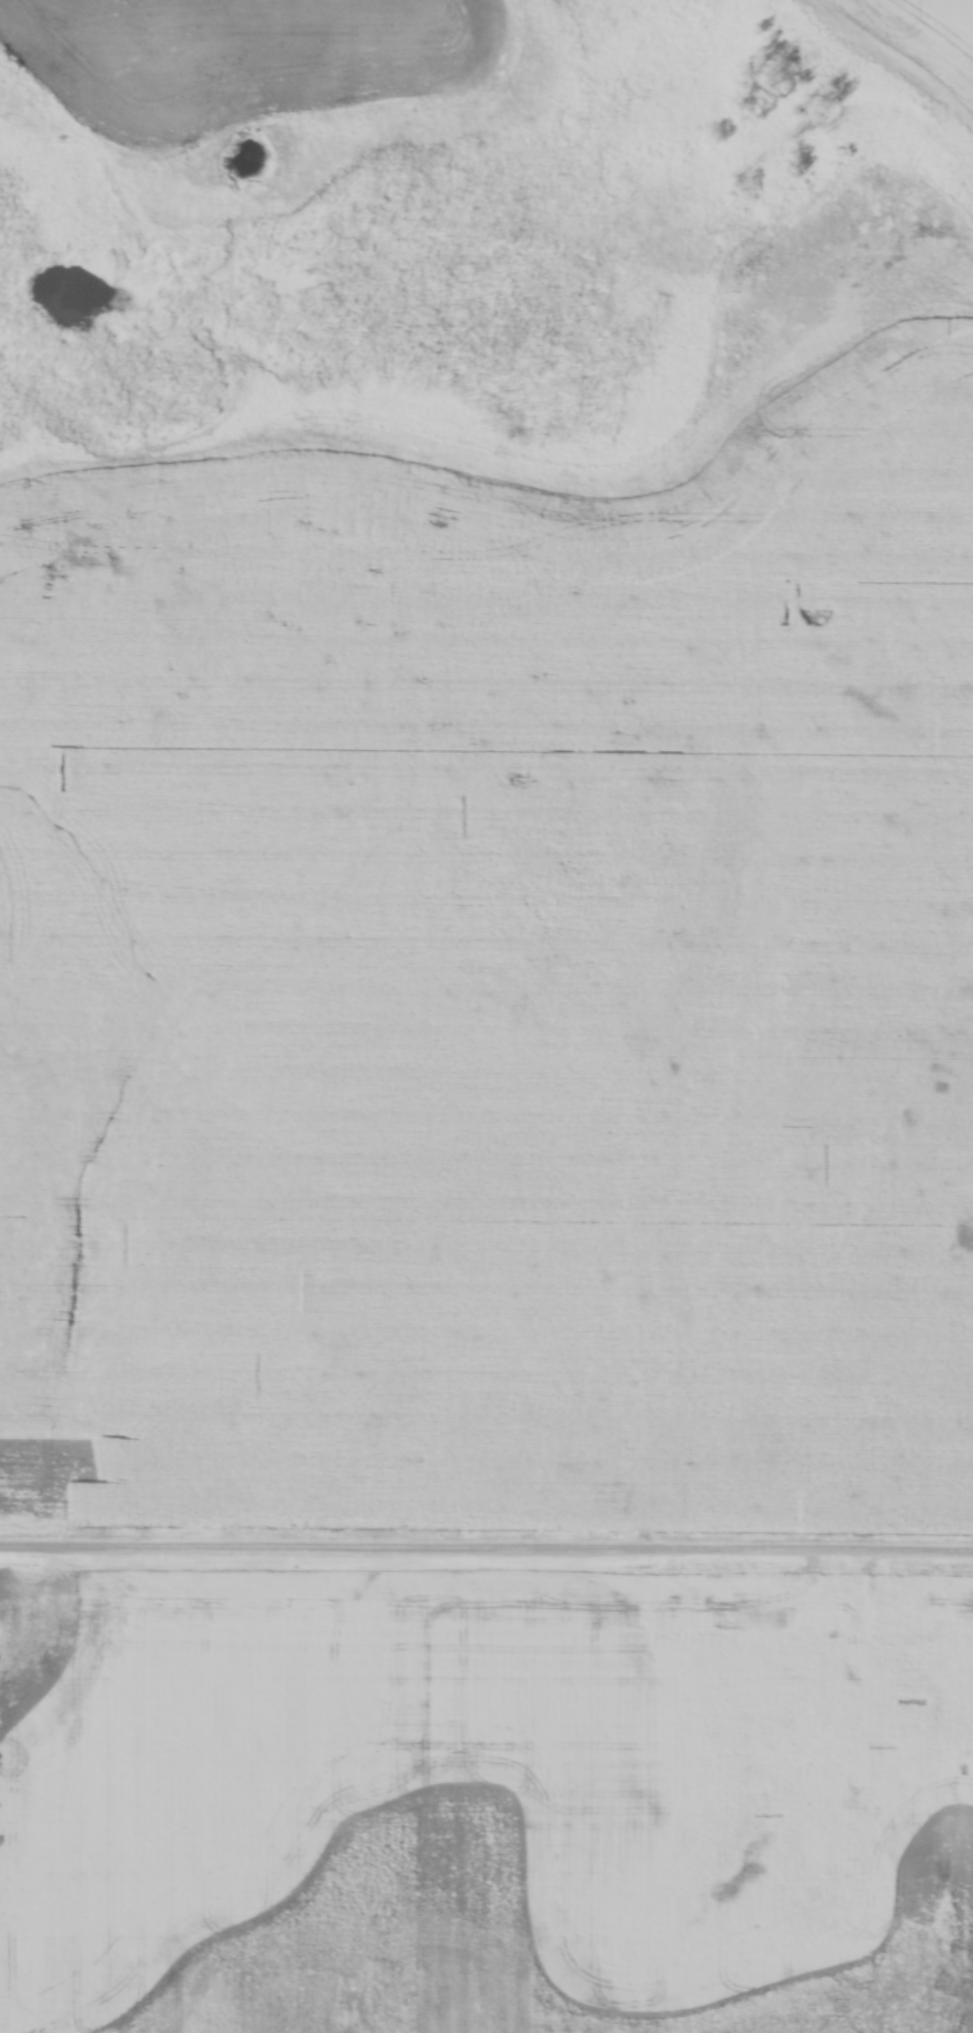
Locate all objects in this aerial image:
road: (486, 1543)
building: (854, 1795)

